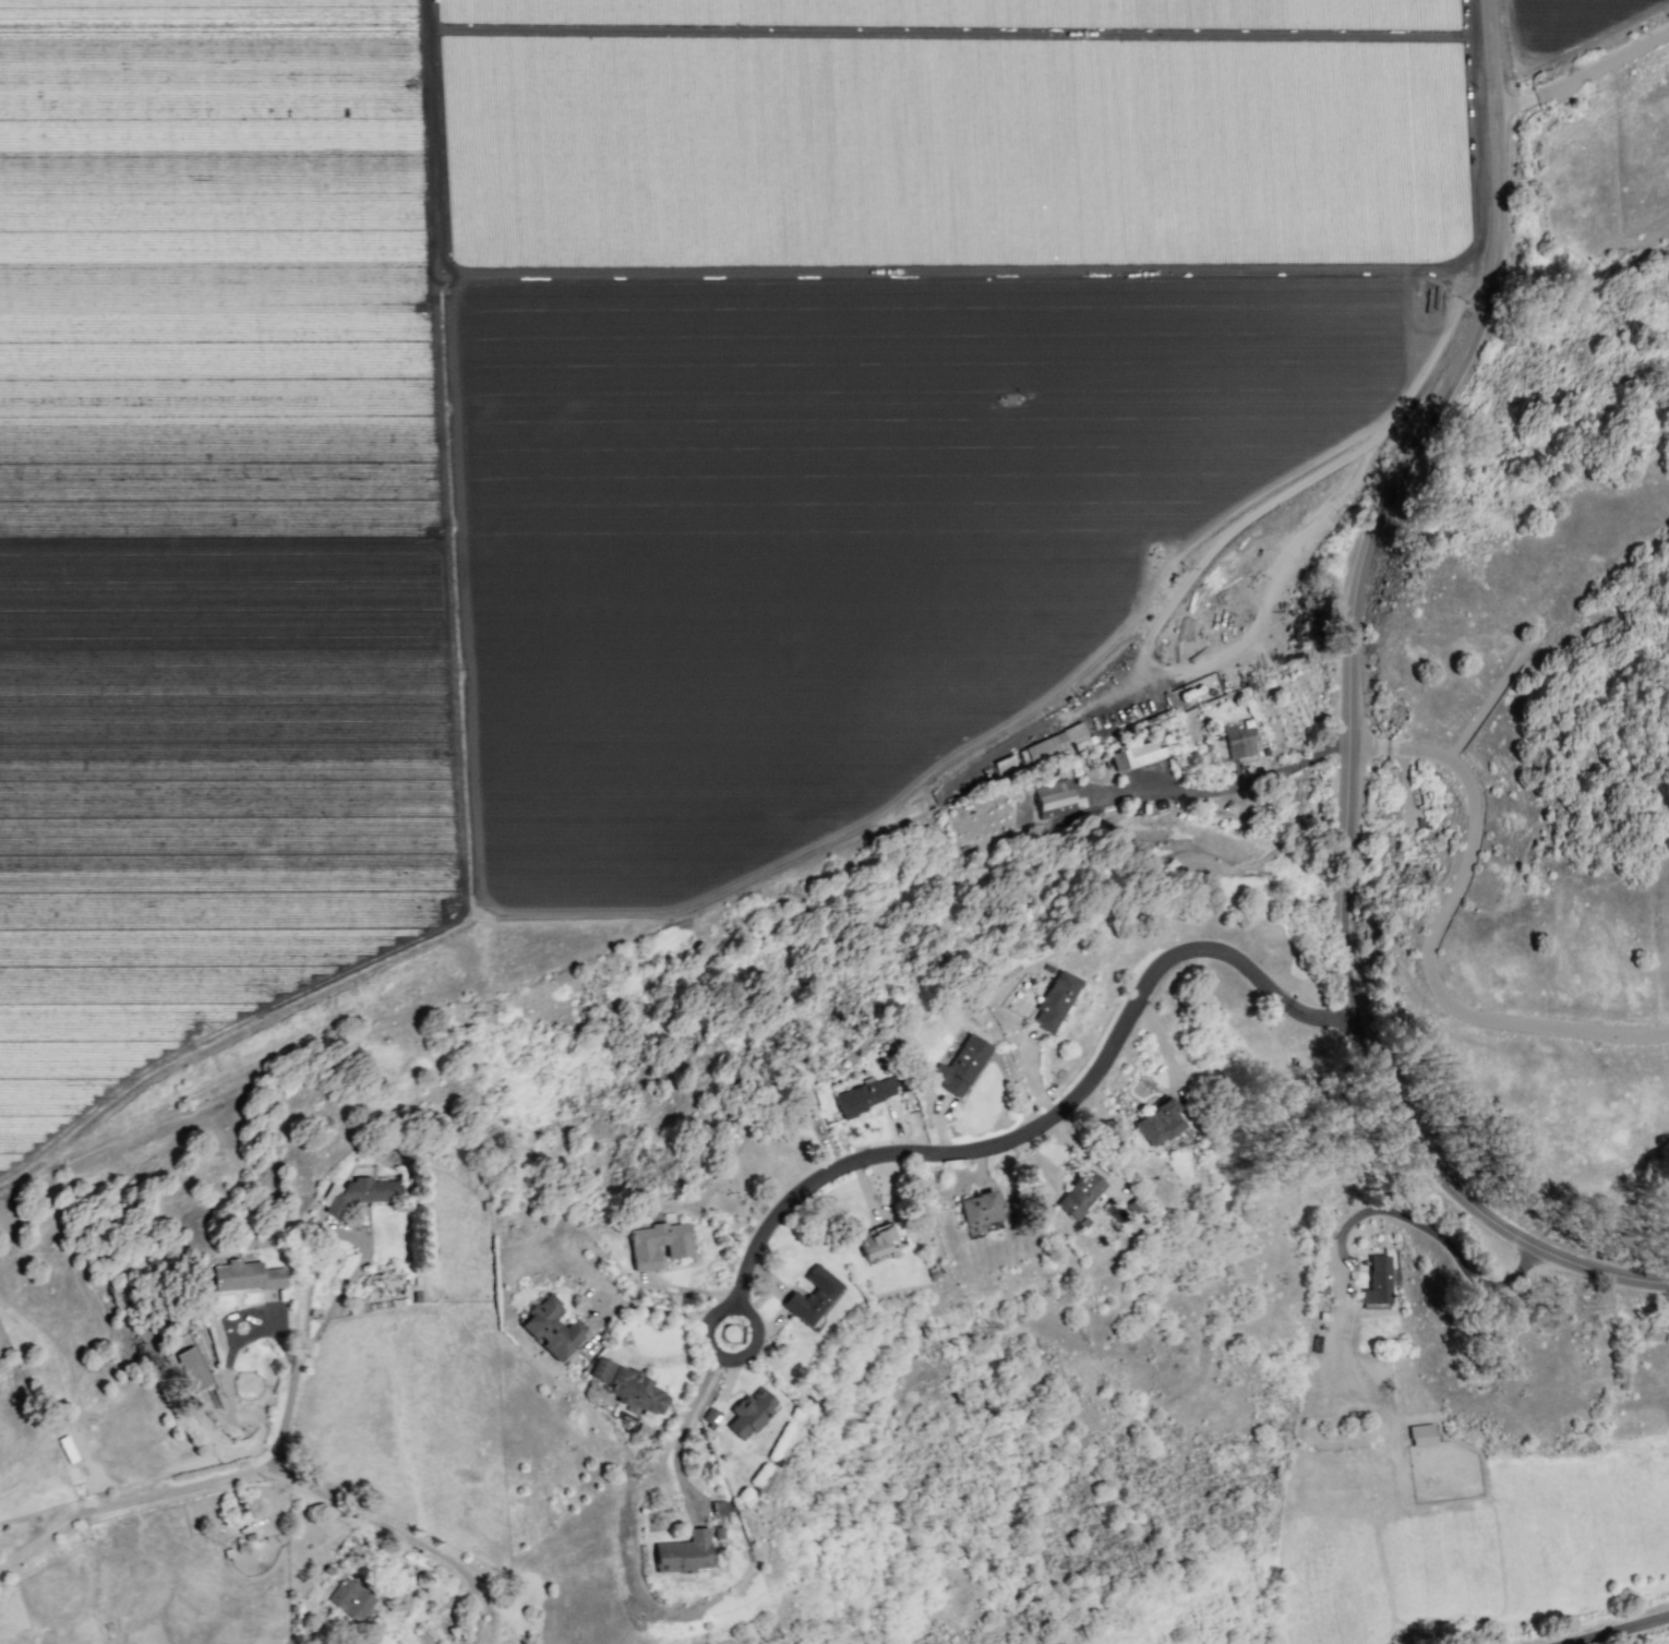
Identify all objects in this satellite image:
road: (1583, 70)
crop: (632, 442)
road: (1353, 717)
building: (1077, 736)
building: (1238, 741)
building: (1045, 746)
building: (1136, 755)
building: (1004, 764)
road: (1245, 782)
building: (1054, 799)
road: (1439, 941)
building: (1054, 1000)
building: (959, 1065)
building: (864, 1094)
building: (1158, 1121)
road: (1040, 1127)
building: (358, 1192)
building: (1079, 1193)
building: (978, 1208)
road: (1429, 1231)
building: (876, 1240)
building: (658, 1244)
building: (244, 1275)
building: (1380, 1280)
building: (812, 1295)
building: (551, 1328)
building: (192, 1368)
road: (295, 1377)
building: (627, 1387)
road: (691, 1407)
building: (749, 1411)
building: (1420, 1435)
road: (272, 1465)
building: (684, 1552)
building: (350, 1599)
road: (1622, 1630)

